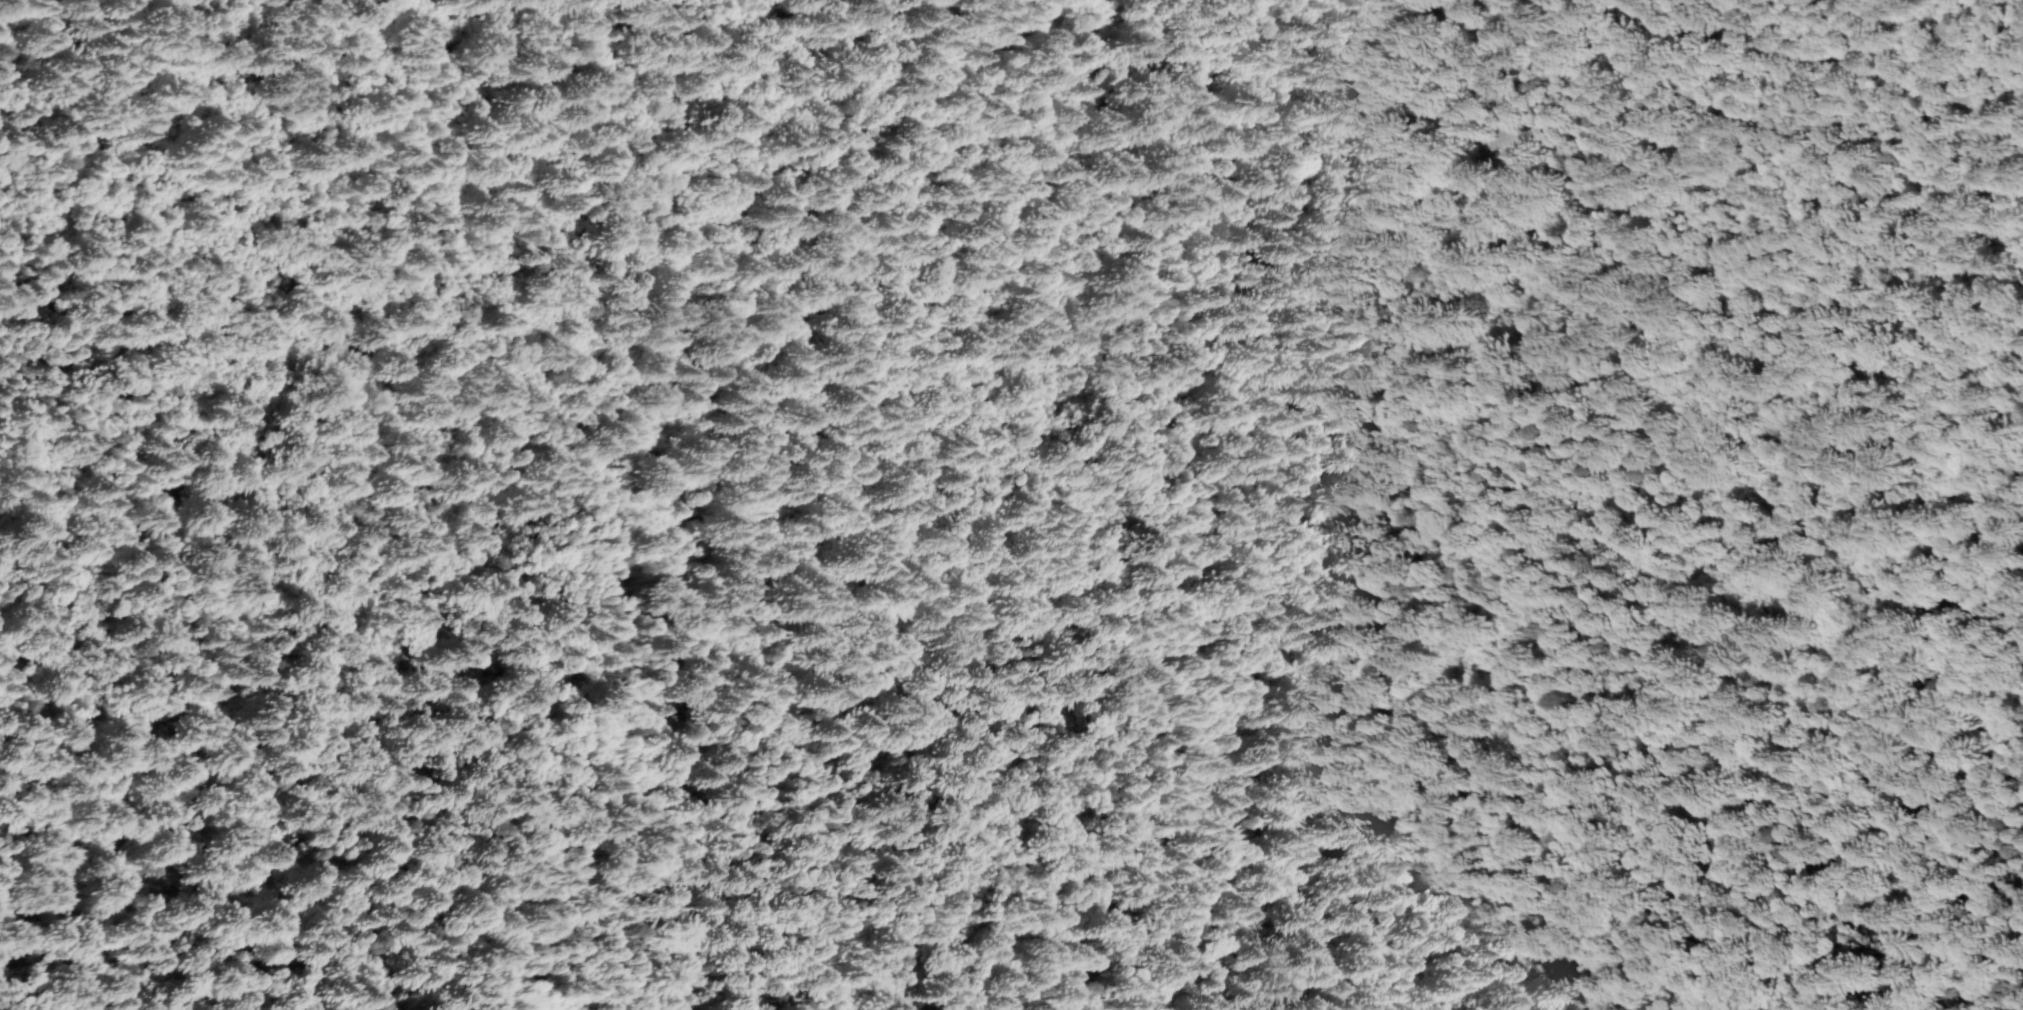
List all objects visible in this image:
road: (1807, 66)

